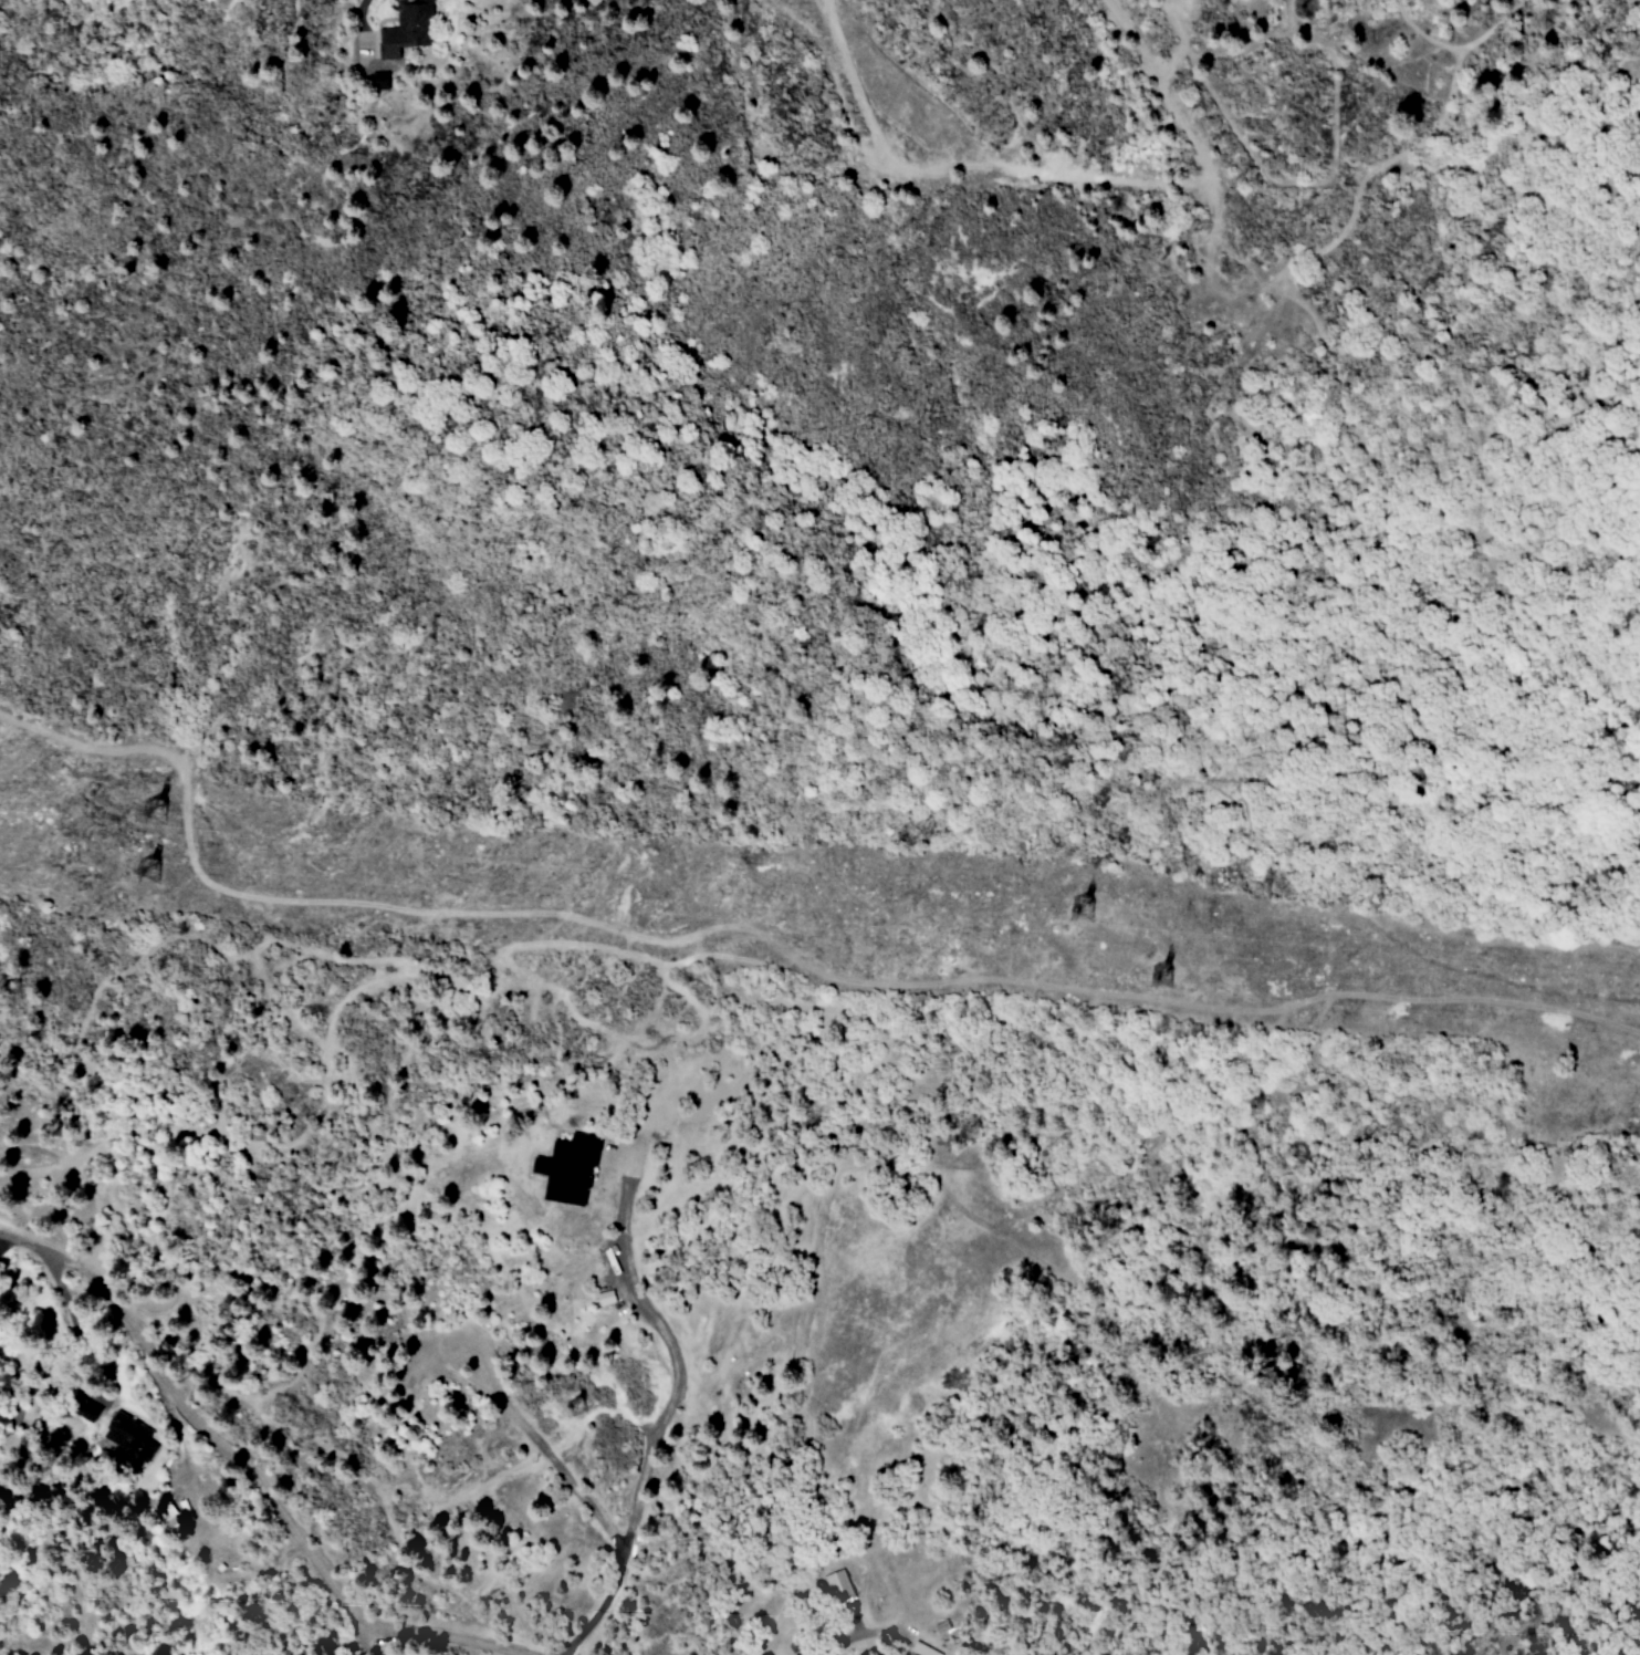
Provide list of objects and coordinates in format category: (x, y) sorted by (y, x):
road: (358, 8)
building: (405, 28)
building: (375, 82)
power tower: (146, 811)
power tower: (153, 871)
power tower: (1076, 907)
power tower: (1157, 976)
power tower: (1255, 1104)
building: (566, 1168)
road: (635, 1295)
building: (83, 1407)
power tower: (576, 1409)
road: (534, 1439)
building: (125, 1440)
road: (242, 1480)
building: (838, 1588)
building: (940, 1626)

